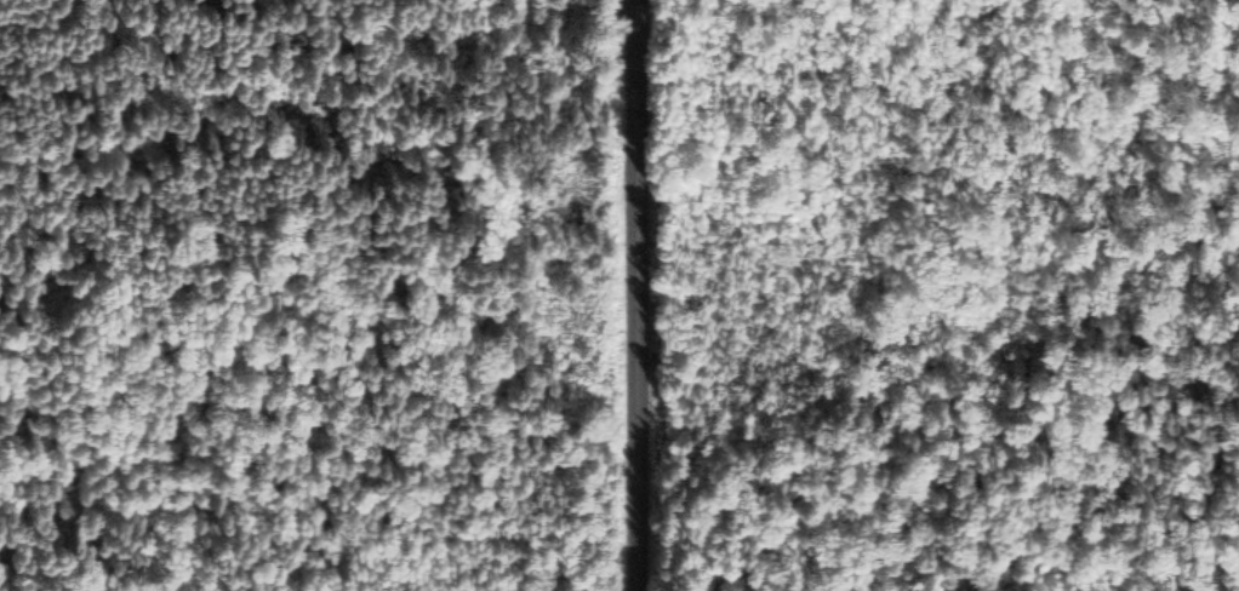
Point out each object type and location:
road: (641, 295)

